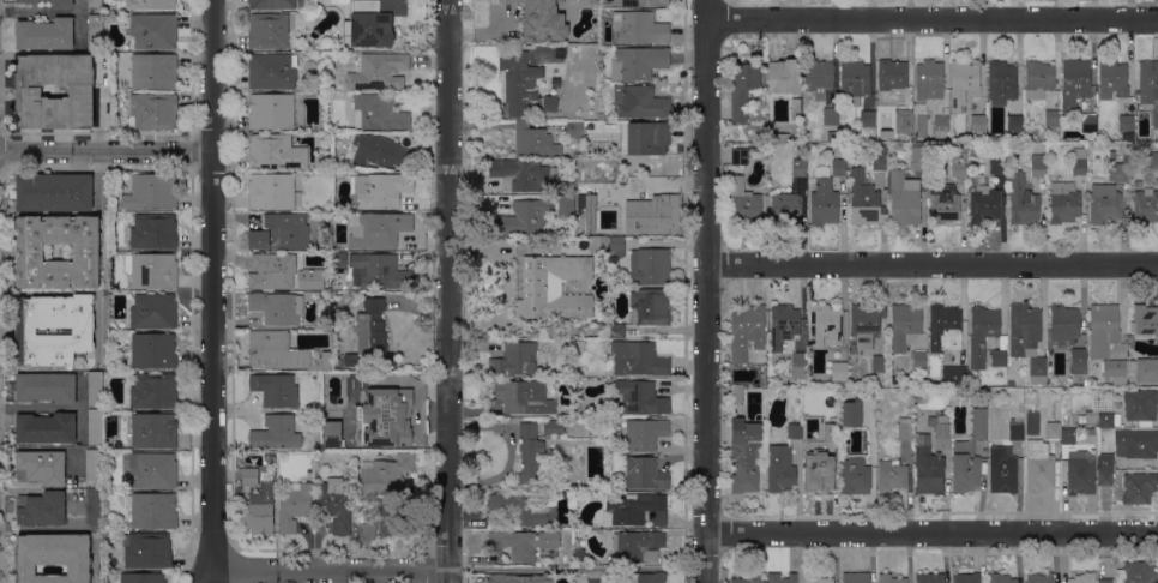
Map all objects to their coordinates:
building: (25, 1)
building: (61, 2)
building: (643, 2)
building: (95, 4)
building: (150, 4)
building: (271, 4)
building: (313, 18)
building: (541, 19)
building: (300, 20)
road: (931, 20)
building: (373, 22)
building: (639, 28)
building: (152, 30)
building: (267, 30)
building: (94, 32)
building: (44, 34)
building: (639, 62)
building: (153, 71)
building: (271, 71)
building: (381, 71)
building: (1039, 74)
building: (783, 76)
building: (894, 76)
building: (819, 77)
building: (855, 79)
building: (1112, 79)
building: (518, 80)
building: (928, 80)
building: (1148, 80)
building: (1002, 82)
building: (1075, 82)
building: (964, 83)
building: (743, 86)
building: (28, 90)
building: (640, 101)
building: (1054, 101)
building: (549, 103)
building: (796, 109)
building: (152, 110)
building: (271, 110)
building: (379, 112)
building: (830, 115)
building: (867, 118)
building: (904, 119)
building: (1053, 120)
building: (1154, 120)
building: (1088, 122)
building: (1126, 122)
building: (1015, 124)
building: (978, 125)
building: (941, 126)
building: (574, 128)
building: (833, 134)
building: (1128, 136)
building: (646, 137)
building: (533, 140)
road: (107, 149)
building: (378, 149)
building: (276, 151)
building: (738, 156)
building: (879, 156)
building: (918, 156)
building: (1112, 156)
building: (958, 160)
building: (1152, 160)
building: (321, 161)
building: (1079, 161)
building: (997, 164)
building: (1038, 164)
building: (608, 166)
building: (800, 167)
building: (839, 167)
building: (1117, 172)
building: (520, 173)
building: (1138, 184)
building: (381, 188)
building: (271, 190)
building: (54, 191)
building: (151, 192)
building: (903, 198)
building: (864, 199)
building: (1021, 199)
building: (824, 202)
building: (1063, 202)
building: (744, 203)
building: (943, 203)
building: (984, 204)
building: (1104, 204)
building: (566, 205)
building: (784, 205)
building: (1145, 205)
building: (587, 210)
building: (656, 215)
building: (520, 217)
building: (379, 230)
building: (152, 232)
building: (281, 232)
building: (598, 245)
building: (616, 247)
building: (30, 252)
building: (58, 252)
building: (339, 259)
building: (650, 265)
road: (931, 265)
building: (152, 270)
building: (272, 270)
building: (379, 271)
building: (310, 278)
road: (213, 286)
building: (551, 286)
road: (450, 290)
road: (705, 291)
building: (650, 306)
building: (277, 307)
building: (153, 311)
building: (1145, 320)
building: (1064, 323)
building: (866, 324)
building: (825, 325)
building: (784, 326)
building: (904, 326)
building: (945, 327)
building: (53, 329)
building: (598, 329)
building: (1024, 329)
building: (616, 330)
building: (1103, 330)
building: (747, 331)
building: (982, 333)
building: (370, 337)
building: (580, 345)
building: (152, 350)
building: (277, 350)
building: (638, 357)
building: (999, 357)
building: (514, 359)
building: (919, 359)
building: (325, 360)
building: (1078, 360)
building: (879, 362)
building: (800, 368)
building: (1142, 368)
building: (839, 371)
building: (1038, 371)
building: (1115, 371)
building: (954, 374)
building: (355, 379)
building: (923, 381)
building: (46, 386)
building: (95, 389)
building: (276, 389)
building: (153, 391)
building: (821, 392)
building: (736, 395)
building: (521, 396)
building: (640, 397)
building: (1140, 404)
building: (833, 407)
building: (797, 408)
building: (388, 410)
building: (580, 413)
building: (851, 413)
building: (1102, 419)
building: (979, 423)
building: (554, 426)
building: (95, 427)
building: (46, 428)
building: (905, 428)
building: (795, 429)
building: (831, 429)
building: (1015, 429)
building: (1053, 429)
building: (153, 431)
building: (942, 432)
building: (276, 433)
building: (644, 433)
building: (1068, 437)
building: (330, 438)
building: (1138, 444)
building: (530, 455)
building: (744, 455)
building: (1105, 461)
building: (92, 464)
building: (41, 467)
building: (965, 467)
building: (1038, 467)
building: (779, 468)
building: (1002, 469)
building: (152, 470)
building: (929, 470)
building: (645, 473)
building: (1080, 473)
building: (819, 474)
building: (249, 475)
building: (384, 475)
building: (855, 475)
building: (892, 475)
building: (1105, 476)
building: (1139, 487)
building: (569, 500)
building: (334, 504)
building: (294, 505)
building: (40, 507)
building: (92, 507)
building: (523, 507)
building: (633, 509)
building: (152, 510)
building: (259, 510)
building: (393, 521)
road: (52, 527)
building: (367, 530)
building: (608, 531)
road: (930, 534)
building: (523, 542)
building: (638, 545)
building: (147, 551)
building: (580, 554)
building: (53, 557)
road: (331, 569)
building: (1136, 572)
building: (773, 575)
building: (141, 577)
building: (644, 577)
building: (748, 577)
building: (856, 577)
building: (929, 577)
building: (965, 577)
building: (1000, 577)
building: (1039, 577)
building: (515, 578)
building: (815, 578)
building: (891, 578)
building: (1082, 578)
building: (1105, 581)

